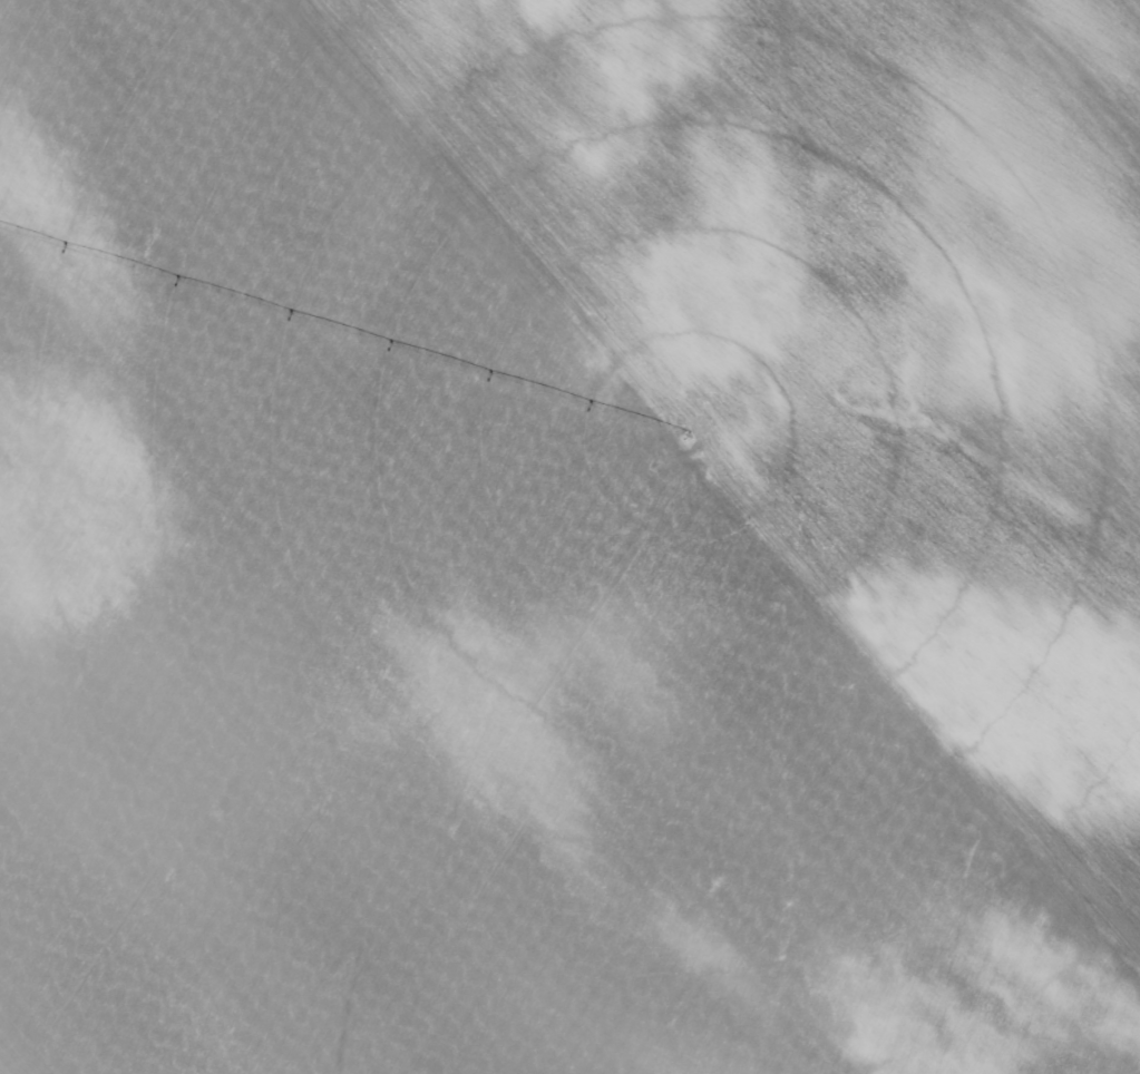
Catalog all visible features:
road: (1043, 1002)
railway: (0, 1073)

